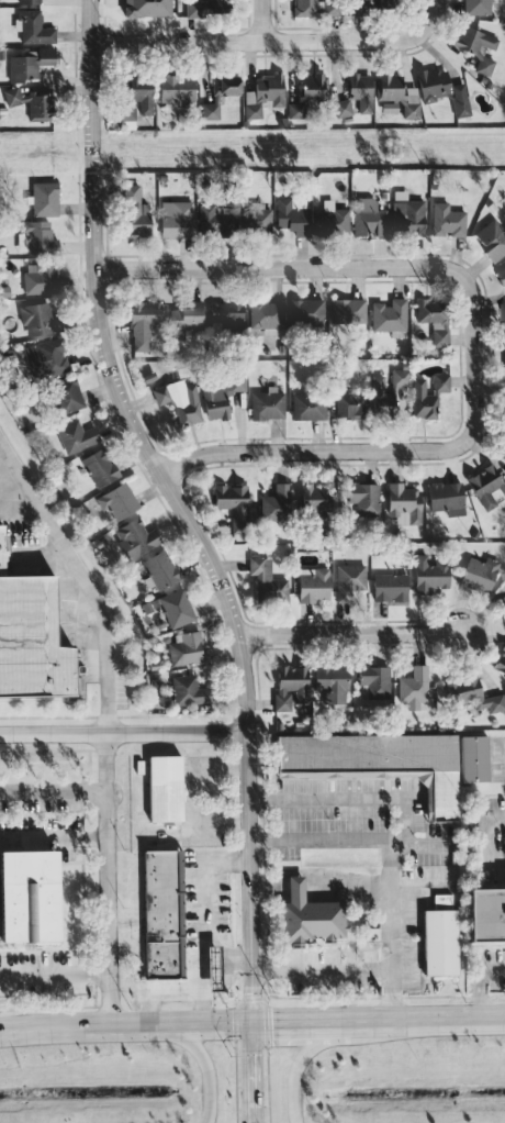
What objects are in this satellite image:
building: (30, 1)
building: (385, 4)
building: (476, 5)
building: (359, 7)
building: (148, 8)
building: (205, 8)
road: (429, 18)
road: (260, 20)
building: (33, 26)
road: (255, 41)
building: (476, 46)
building: (30, 64)
building: (177, 89)
building: (361, 90)
building: (444, 90)
building: (217, 93)
building: (308, 93)
building: (399, 93)
building: (263, 94)
building: (31, 102)
building: (136, 103)
building: (343, 109)
road: (90, 133)
power tower: (392, 148)
building: (45, 198)
building: (135, 211)
building: (408, 216)
building: (215, 218)
building: (255, 218)
building: (369, 218)
building: (177, 219)
building: (332, 220)
building: (448, 220)
building: (37, 237)
building: (493, 238)
road: (319, 266)
building: (501, 275)
building: (41, 279)
building: (348, 310)
building: (306, 311)
building: (188, 315)
building: (390, 315)
building: (435, 318)
building: (504, 319)
building: (40, 320)
building: (143, 322)
building: (504, 351)
building: (46, 358)
building: (69, 394)
building: (428, 396)
building: (222, 397)
building: (383, 401)
building: (181, 402)
building: (350, 402)
building: (268, 403)
building: (308, 407)
building: (76, 435)
road: (355, 448)
building: (503, 455)
building: (100, 467)
building: (486, 486)
building: (447, 497)
building: (315, 498)
building: (364, 498)
building: (117, 500)
building: (404, 502)
building: (233, 503)
building: (277, 503)
road: (20, 511)
building: (135, 537)
building: (160, 569)
building: (429, 574)
building: (480, 574)
road: (82, 579)
building: (267, 580)
building: (349, 580)
building: (313, 585)
building: (390, 587)
building: (177, 608)
parking lot: (44, 612)
road: (234, 627)
road: (352, 633)
building: (31, 638)
building: (187, 648)
building: (501, 659)
building: (332, 681)
building: (373, 681)
building: (290, 686)
building: (413, 688)
building: (189, 690)
building: (473, 693)
road: (123, 732)
building: (366, 755)
building: (474, 758)
building: (165, 788)
road: (54, 789)
road: (370, 798)
parking lot: (41, 813)
road: (494, 818)
road: (54, 833)
road: (386, 859)
road: (109, 878)
building: (30, 896)
building: (489, 913)
building: (161, 914)
road: (203, 916)
building: (311, 922)
building: (440, 937)
road: (227, 955)
road: (493, 966)
building: (213, 968)
parking lot: (43, 969)
road: (321, 969)
road: (55, 977)
road: (160, 990)
road: (482, 991)
road: (440, 1016)
road: (355, 1019)
road: (294, 1020)
traffic signals: (254, 1021)
road: (126, 1023)
road: (295, 1064)
road: (205, 1066)
road: (254, 1071)

